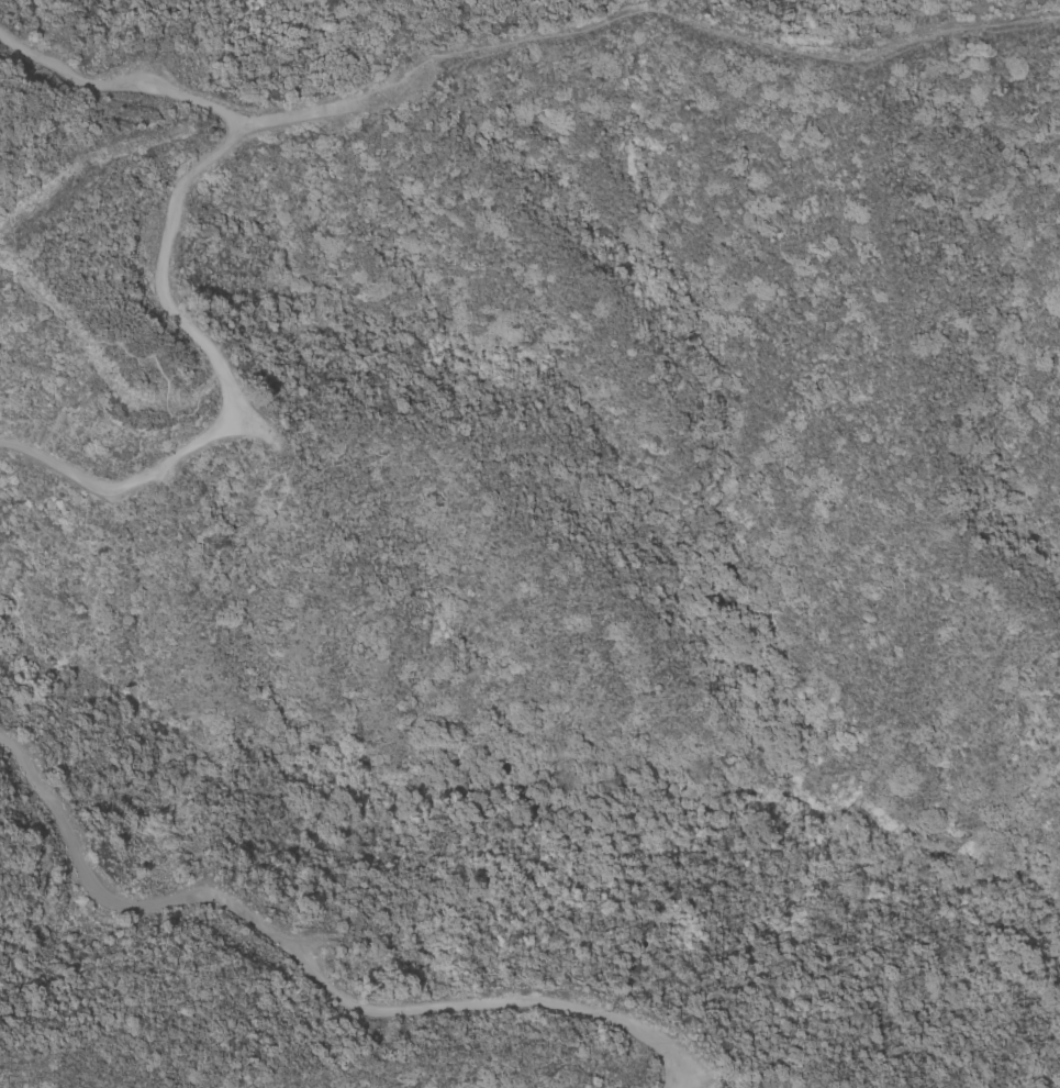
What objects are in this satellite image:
building: (209, 132)
road: (160, 264)
road: (304, 966)

